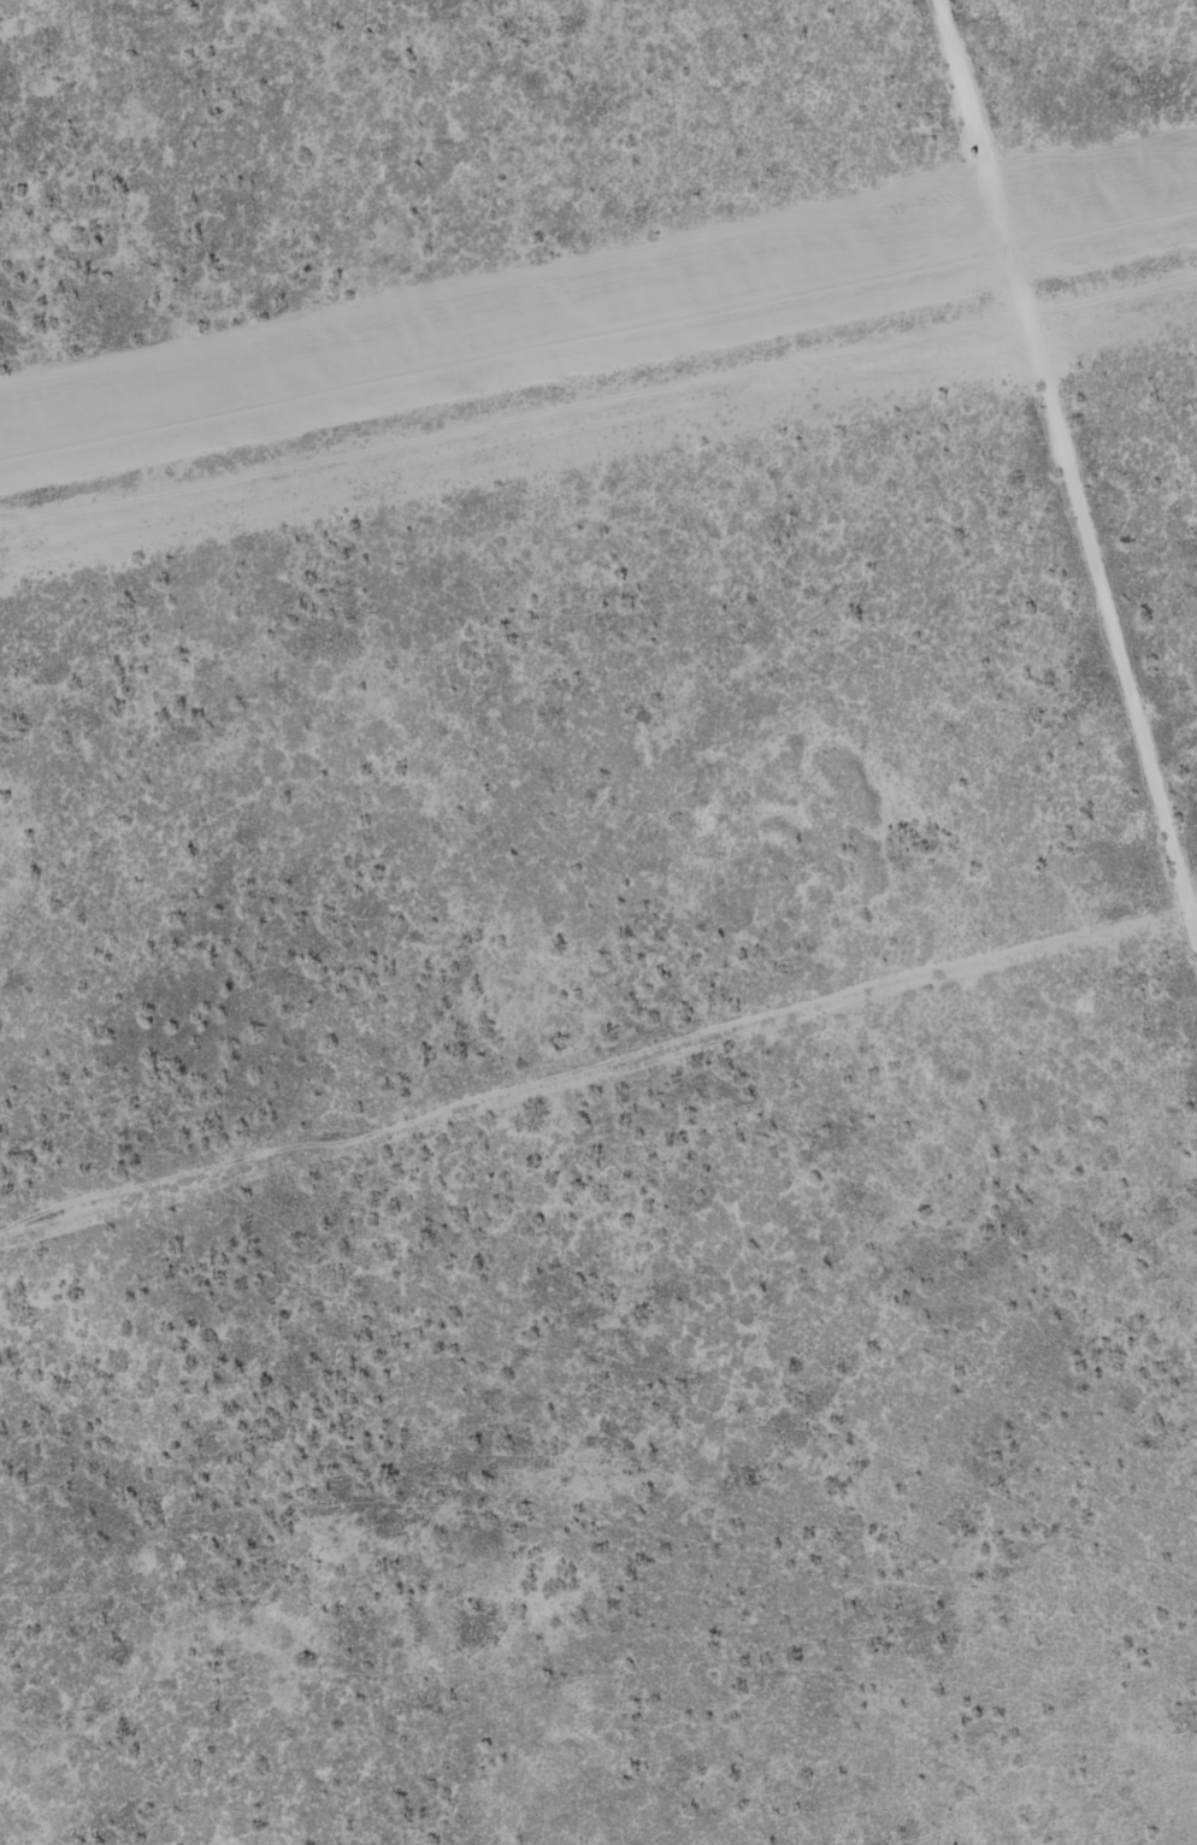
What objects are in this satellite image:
road: (1079, 436)

